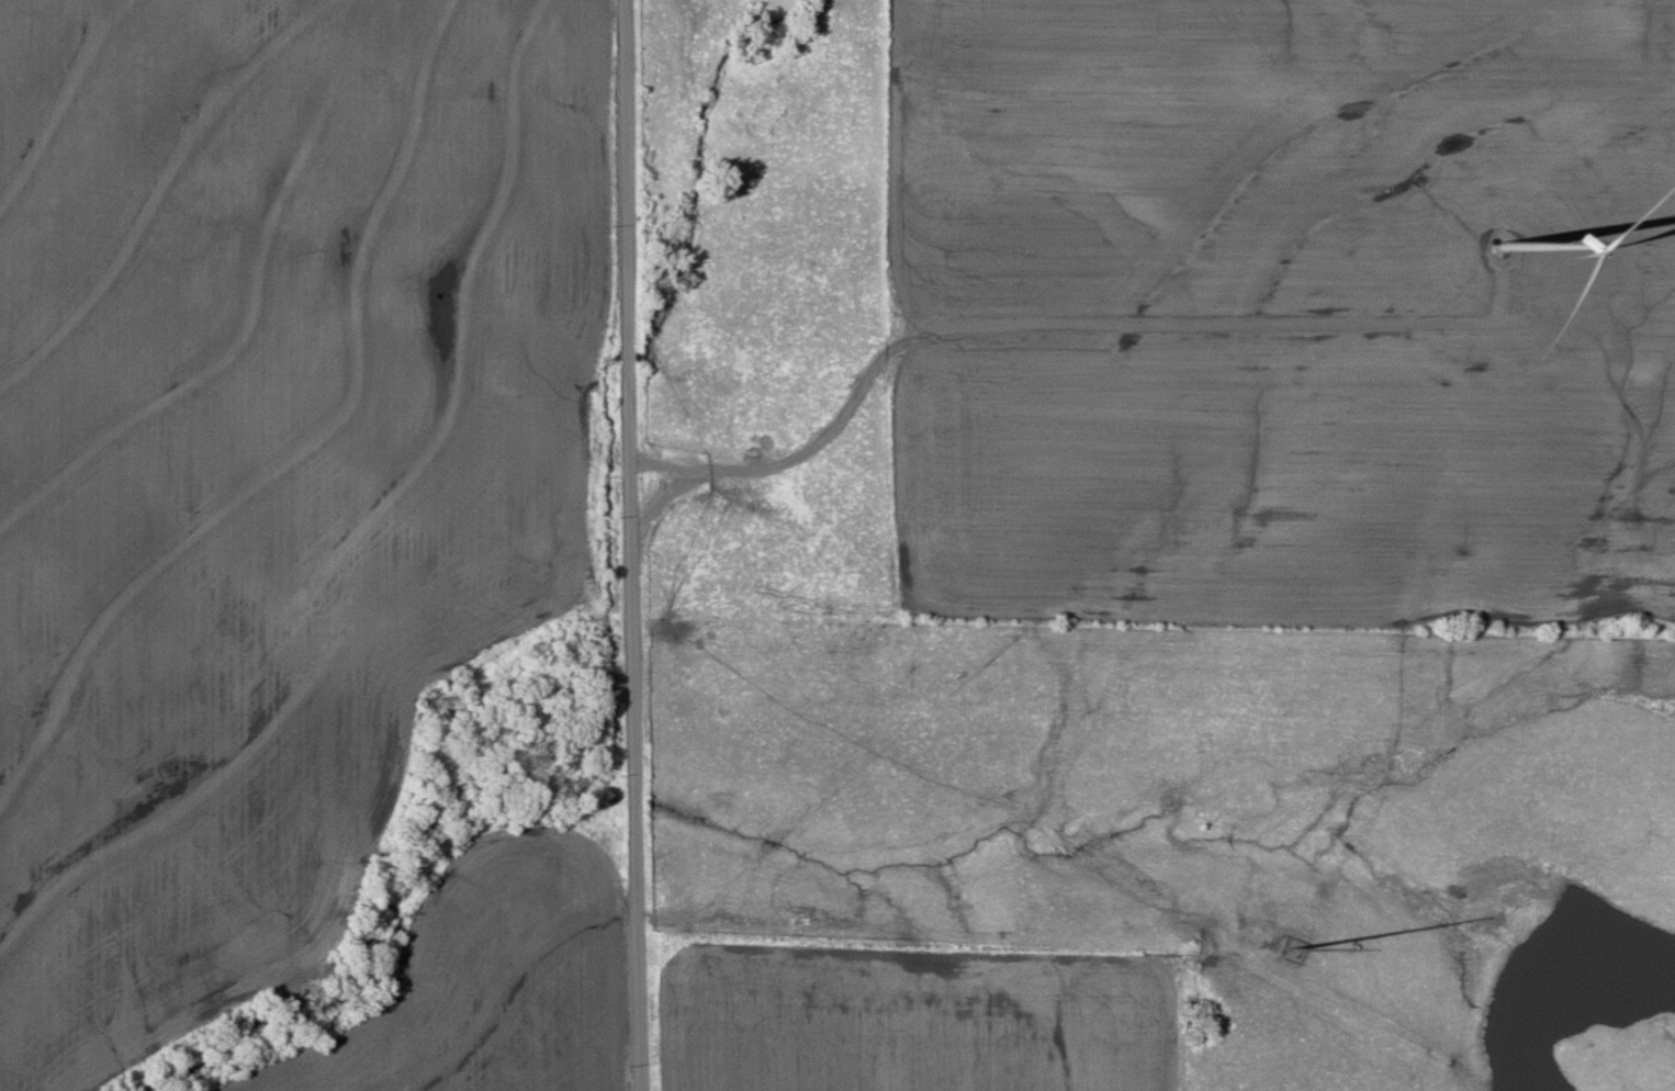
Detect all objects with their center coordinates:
wind turbine: (1496, 248)
road: (632, 545)

